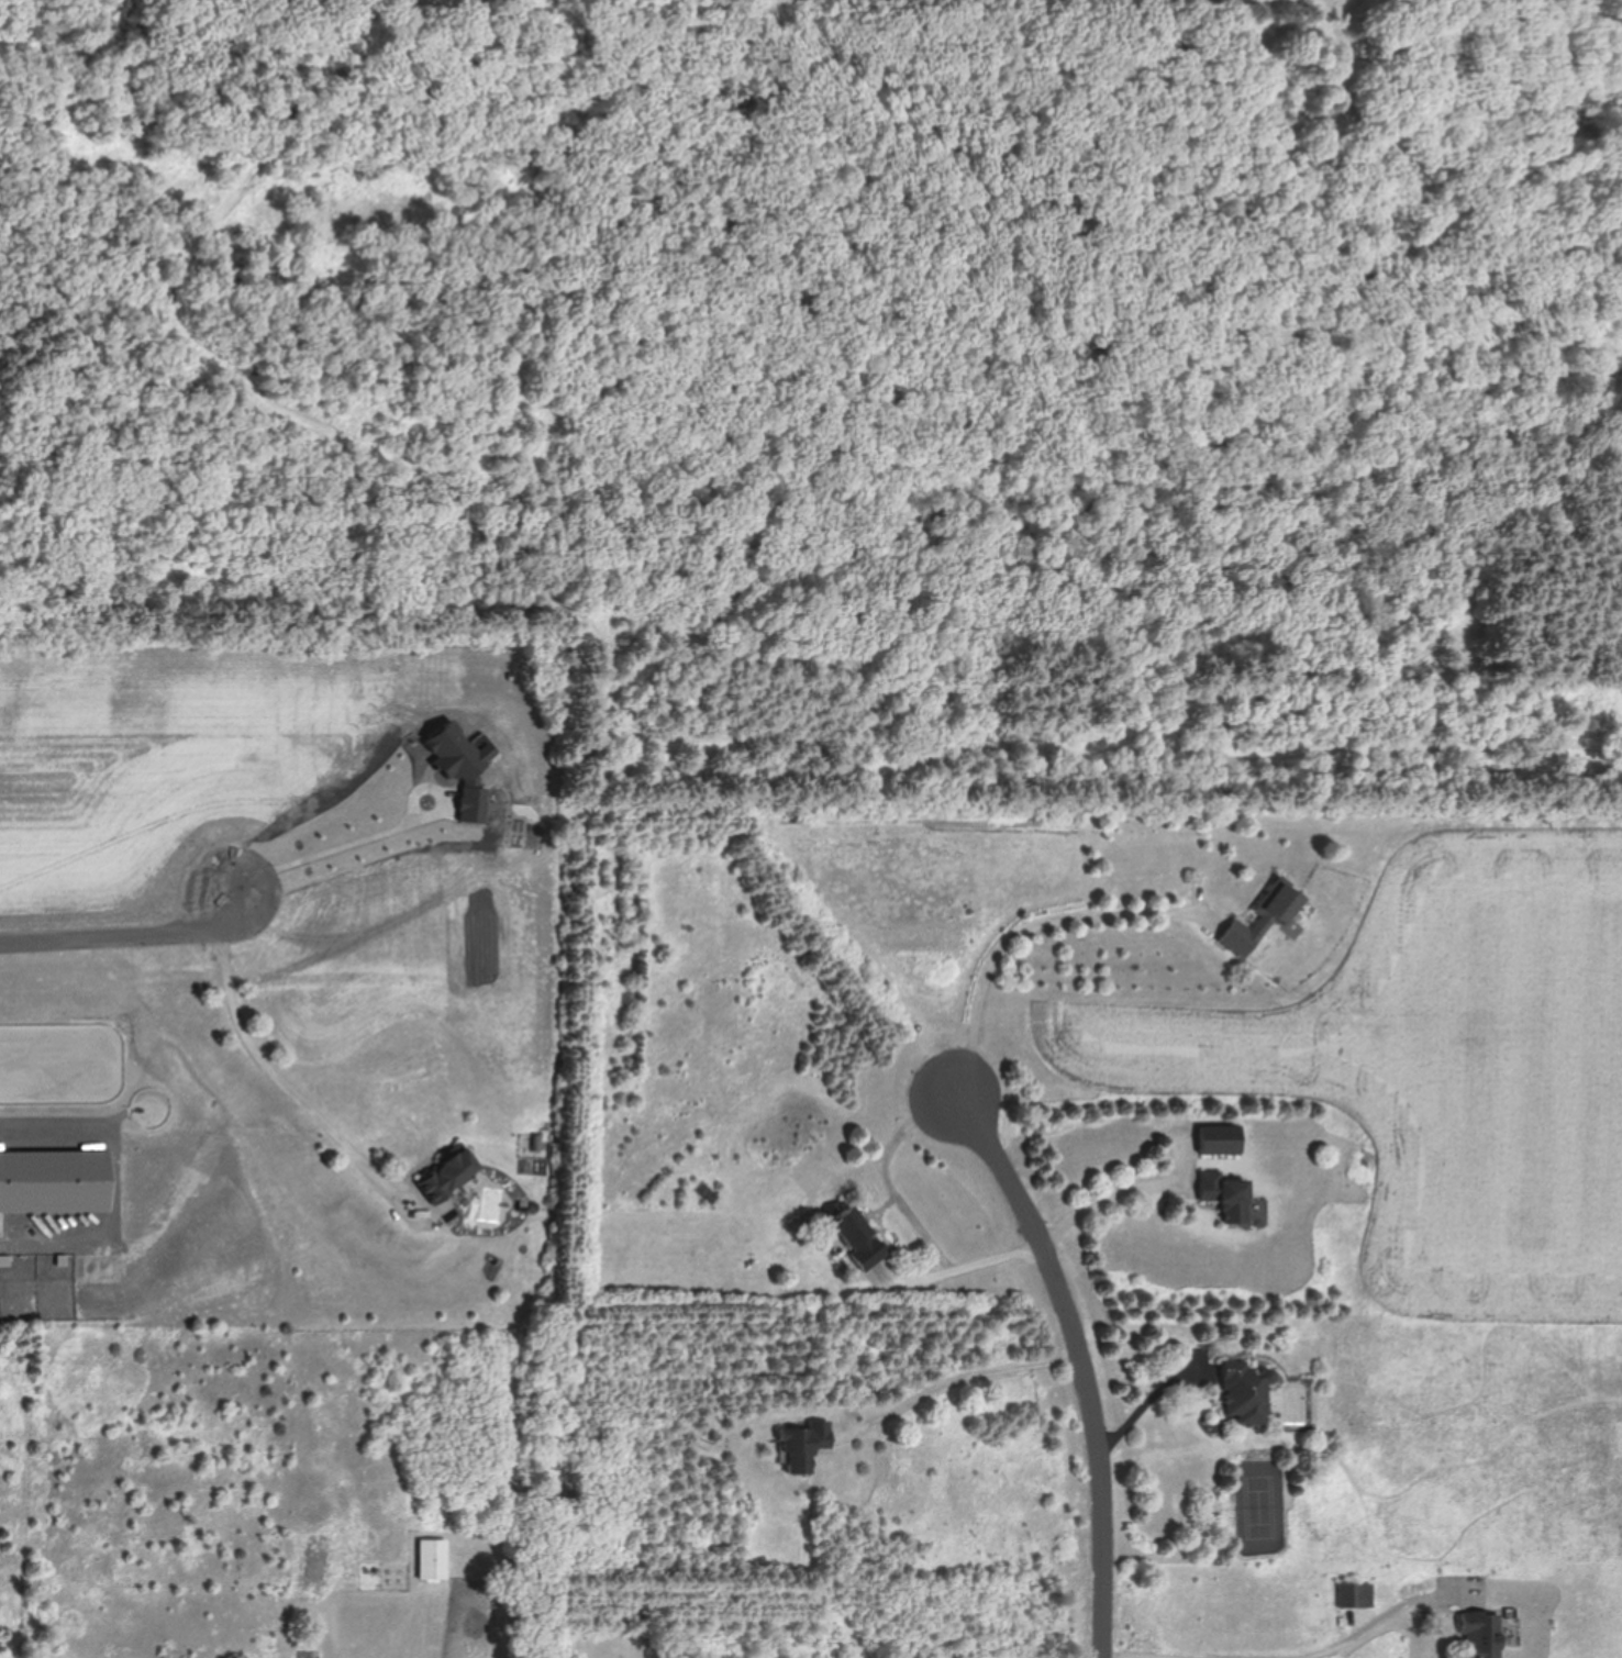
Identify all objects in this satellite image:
park: (855, 374)
road: (329, 849)
building: (1265, 917)
road: (1025, 933)
road: (125, 935)
building: (1267, 970)
road: (271, 1068)
road: (54, 1127)
building: (1221, 1139)
building: (449, 1172)
road: (889, 1175)
building: (1227, 1198)
building: (855, 1244)
road: (1035, 1249)
road: (1089, 1365)
road: (963, 1381)
building: (1246, 1394)
road: (1154, 1403)
building: (806, 1447)
building: (434, 1560)
building: (1354, 1593)
road: (1386, 1622)
building: (1478, 1635)
road: (1118, 1657)

